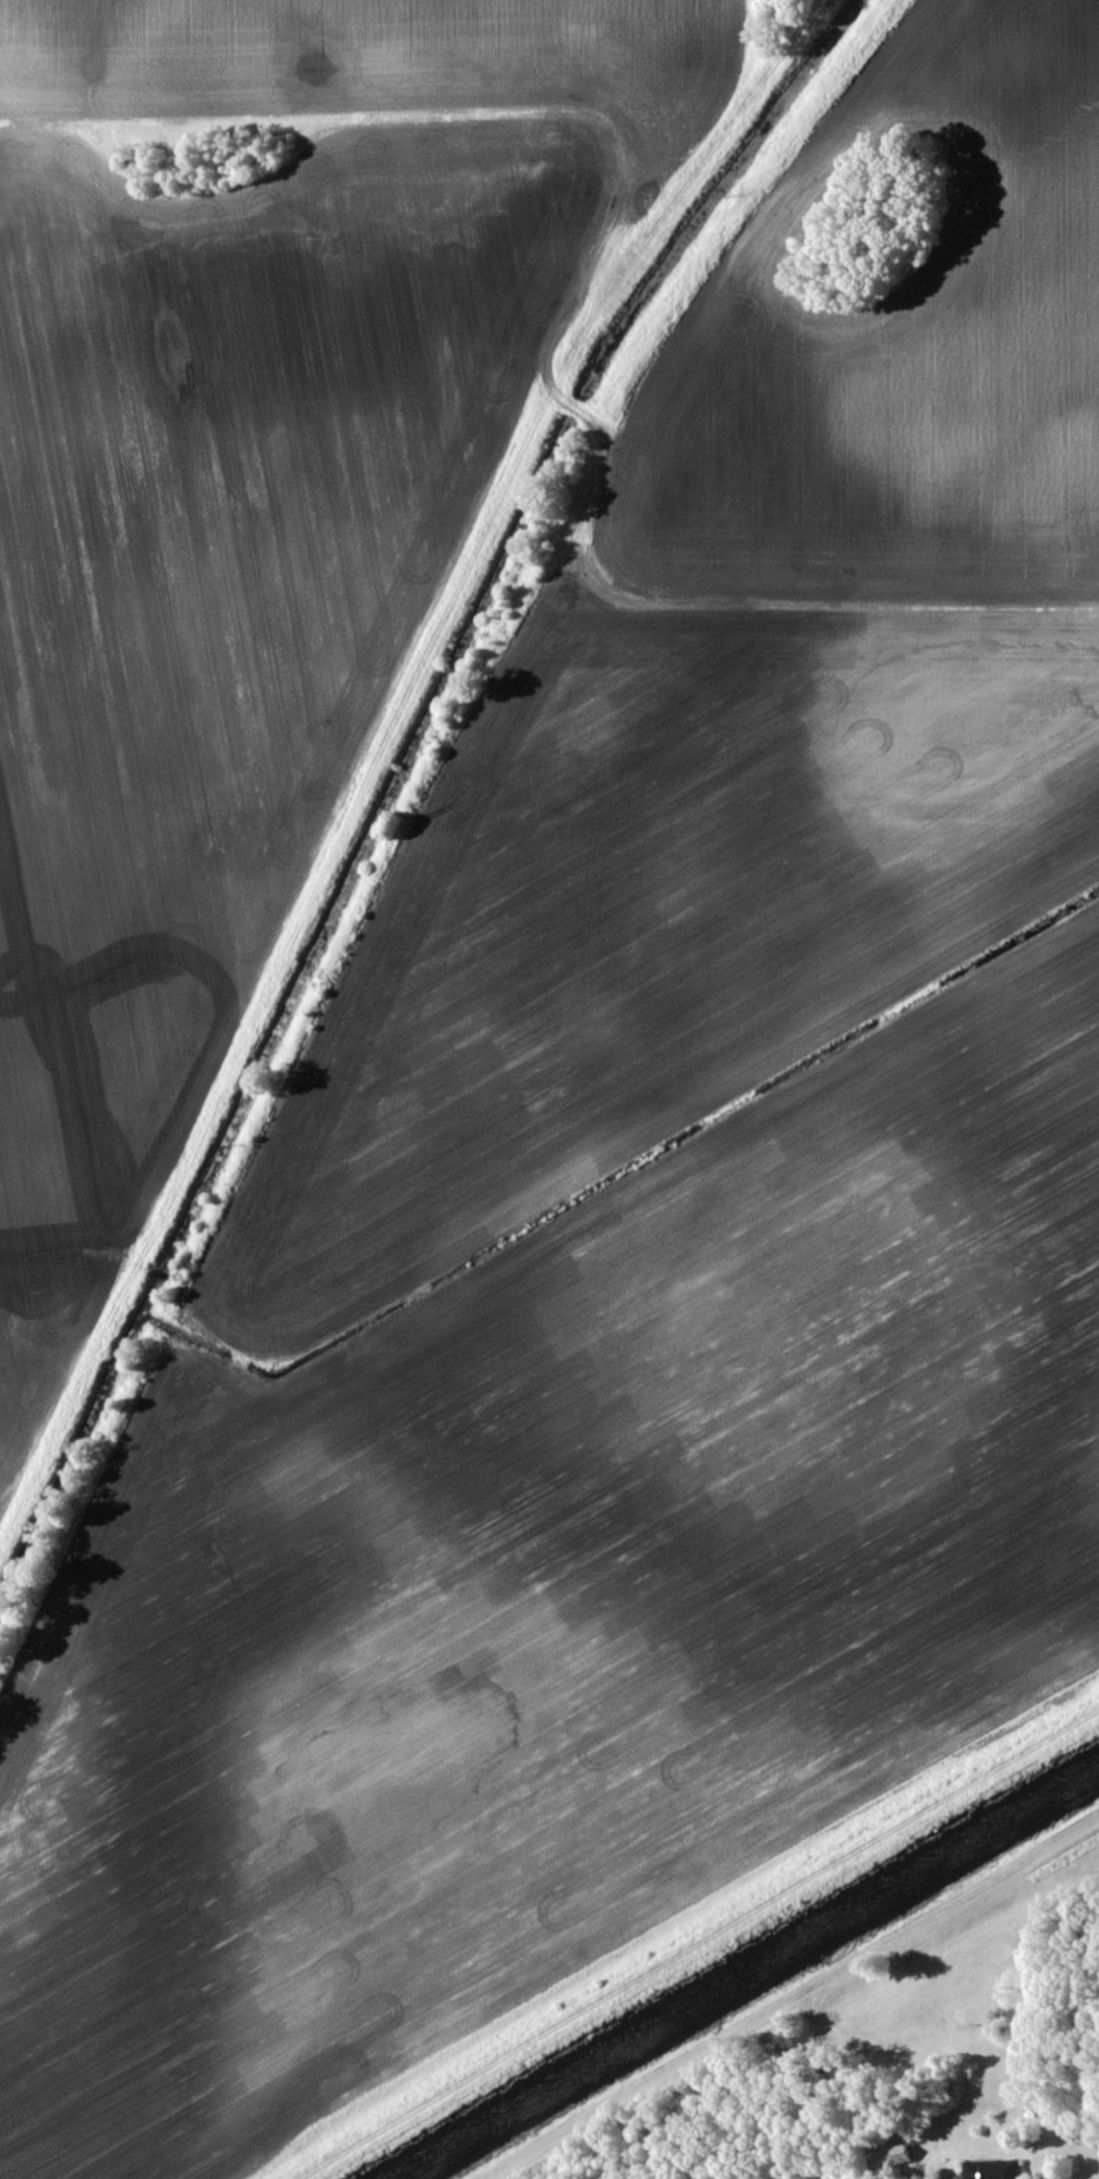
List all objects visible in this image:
building: (999, 2170)

